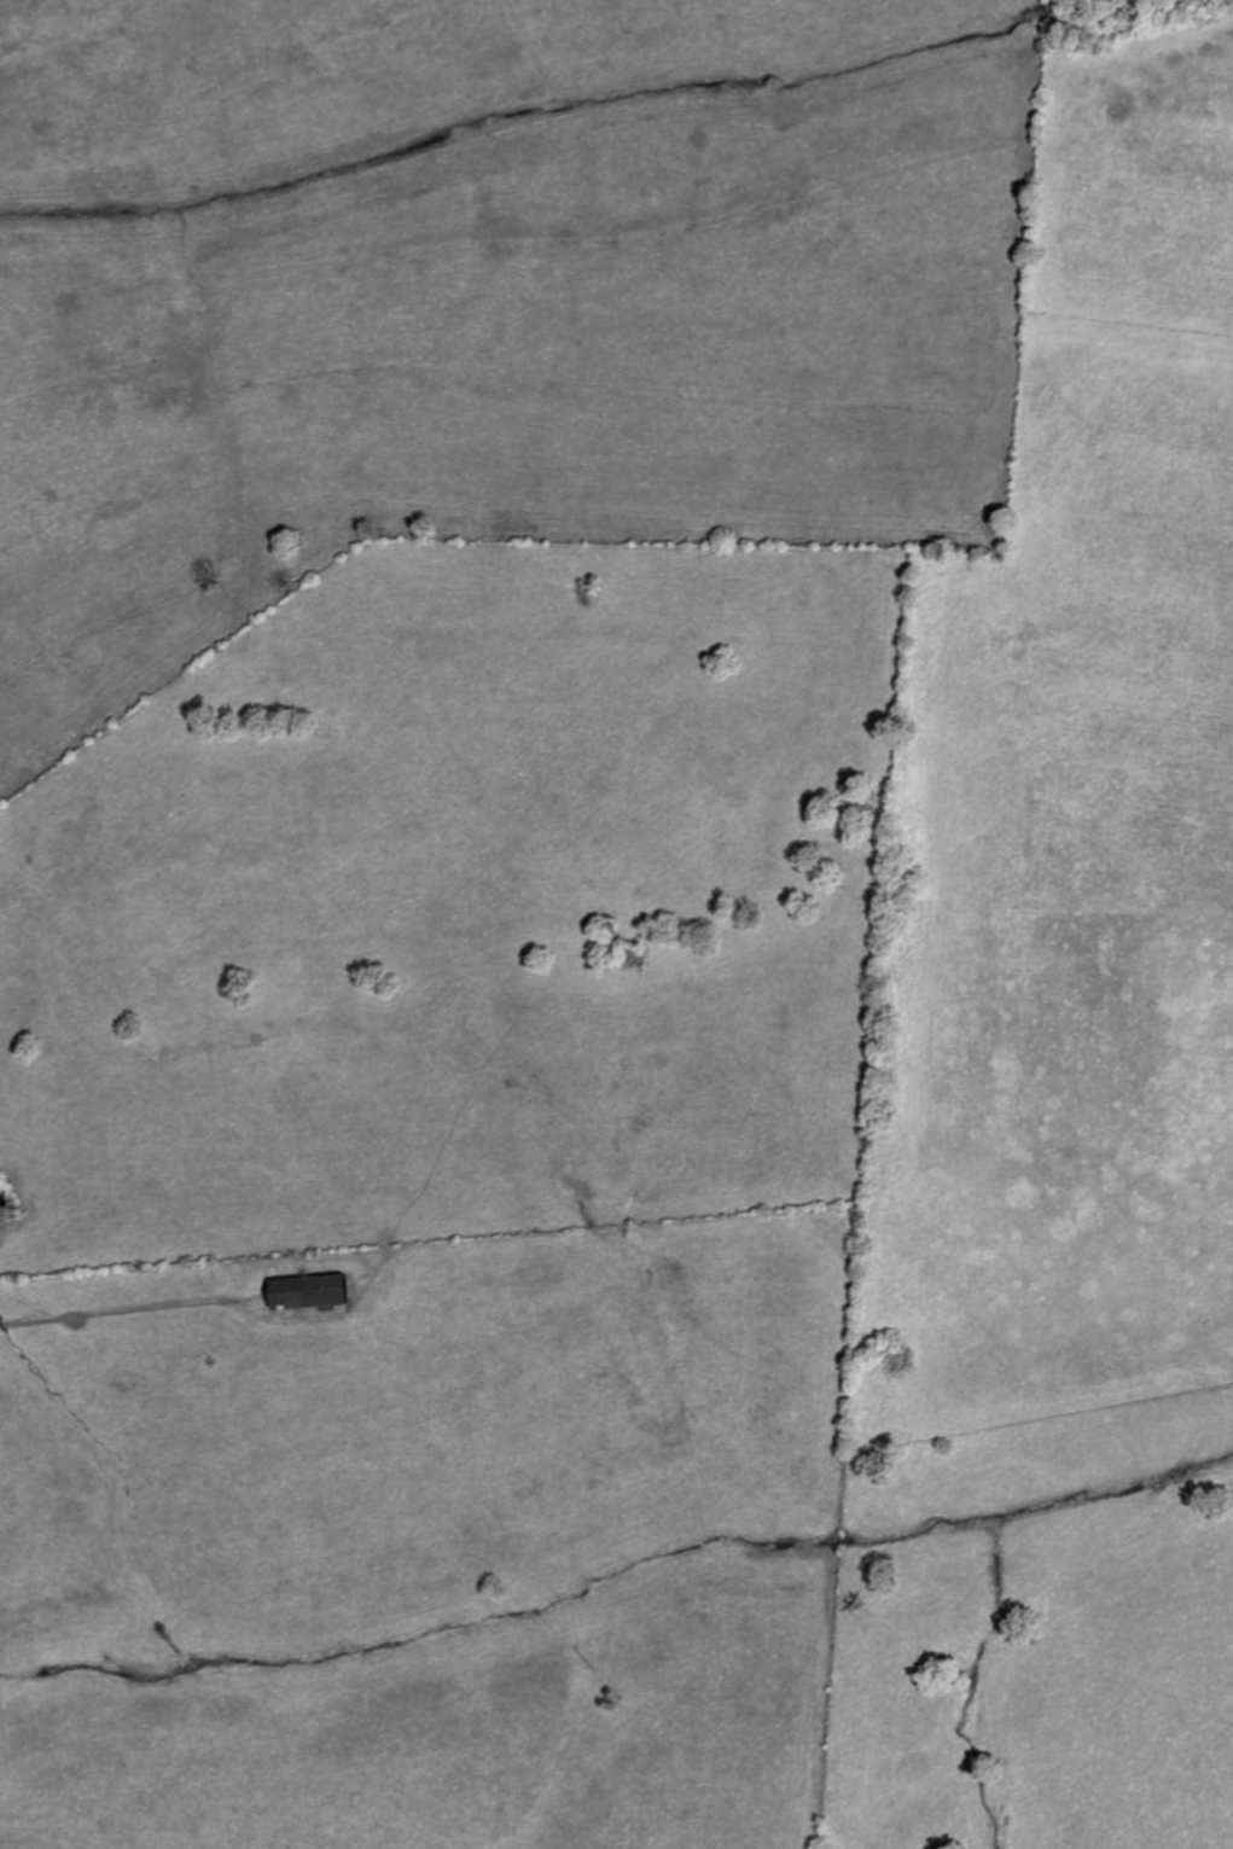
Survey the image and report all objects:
road: (43, 896)
building: (302, 1292)

